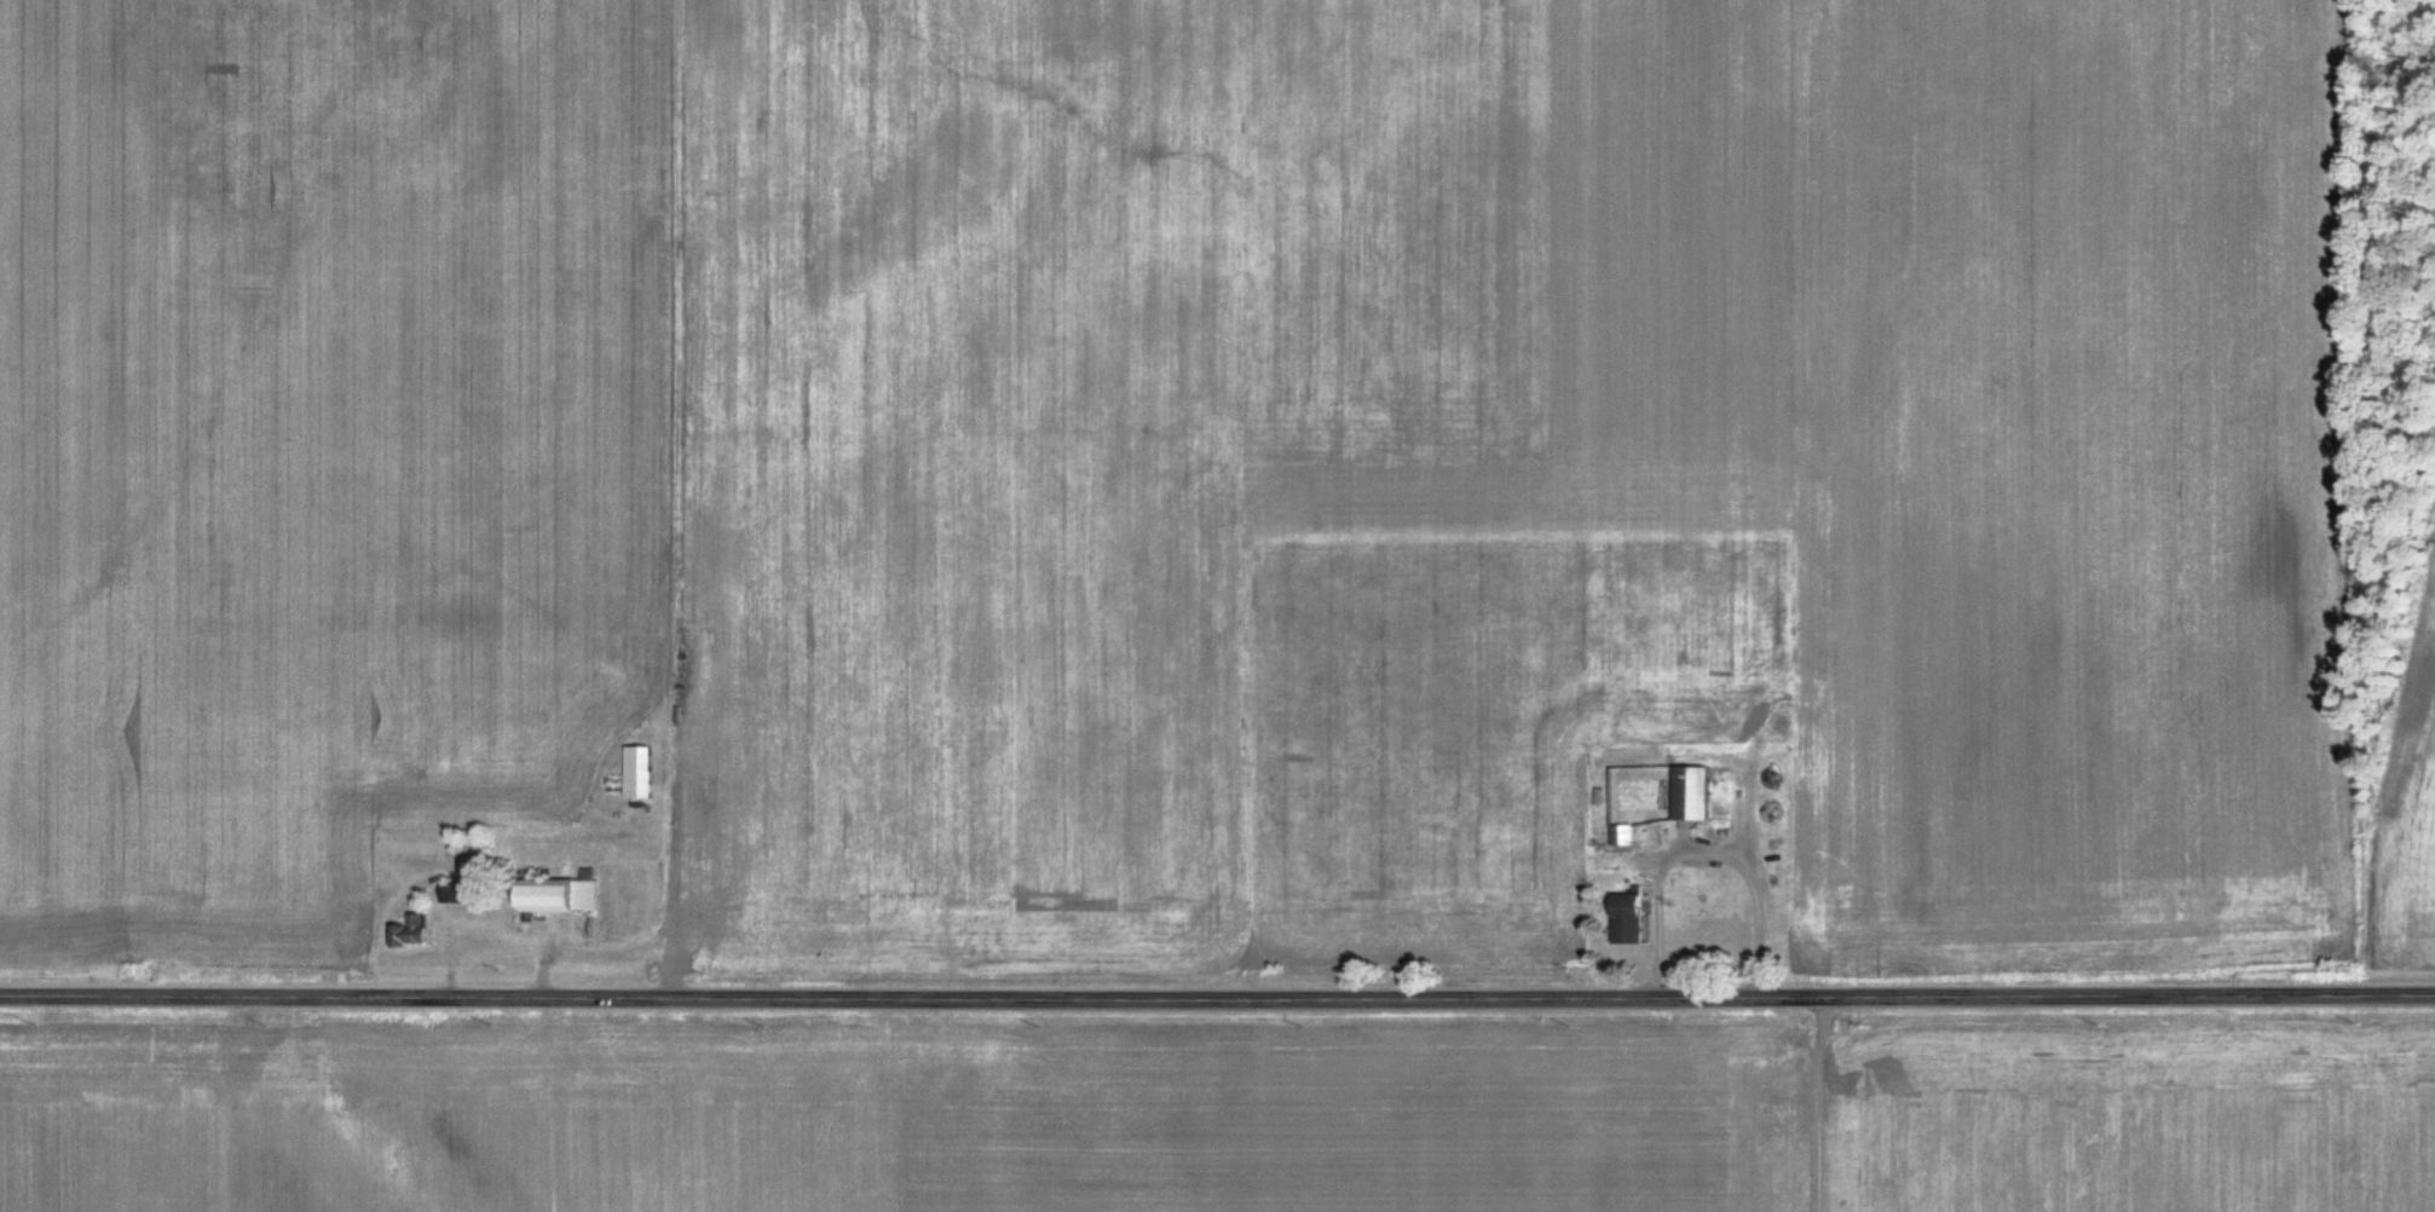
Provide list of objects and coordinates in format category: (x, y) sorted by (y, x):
building: (639, 769)
building: (1693, 791)
building: (1625, 833)
building: (454, 891)
building: (560, 894)
building: (1631, 917)
building: (411, 929)
road: (1217, 997)

